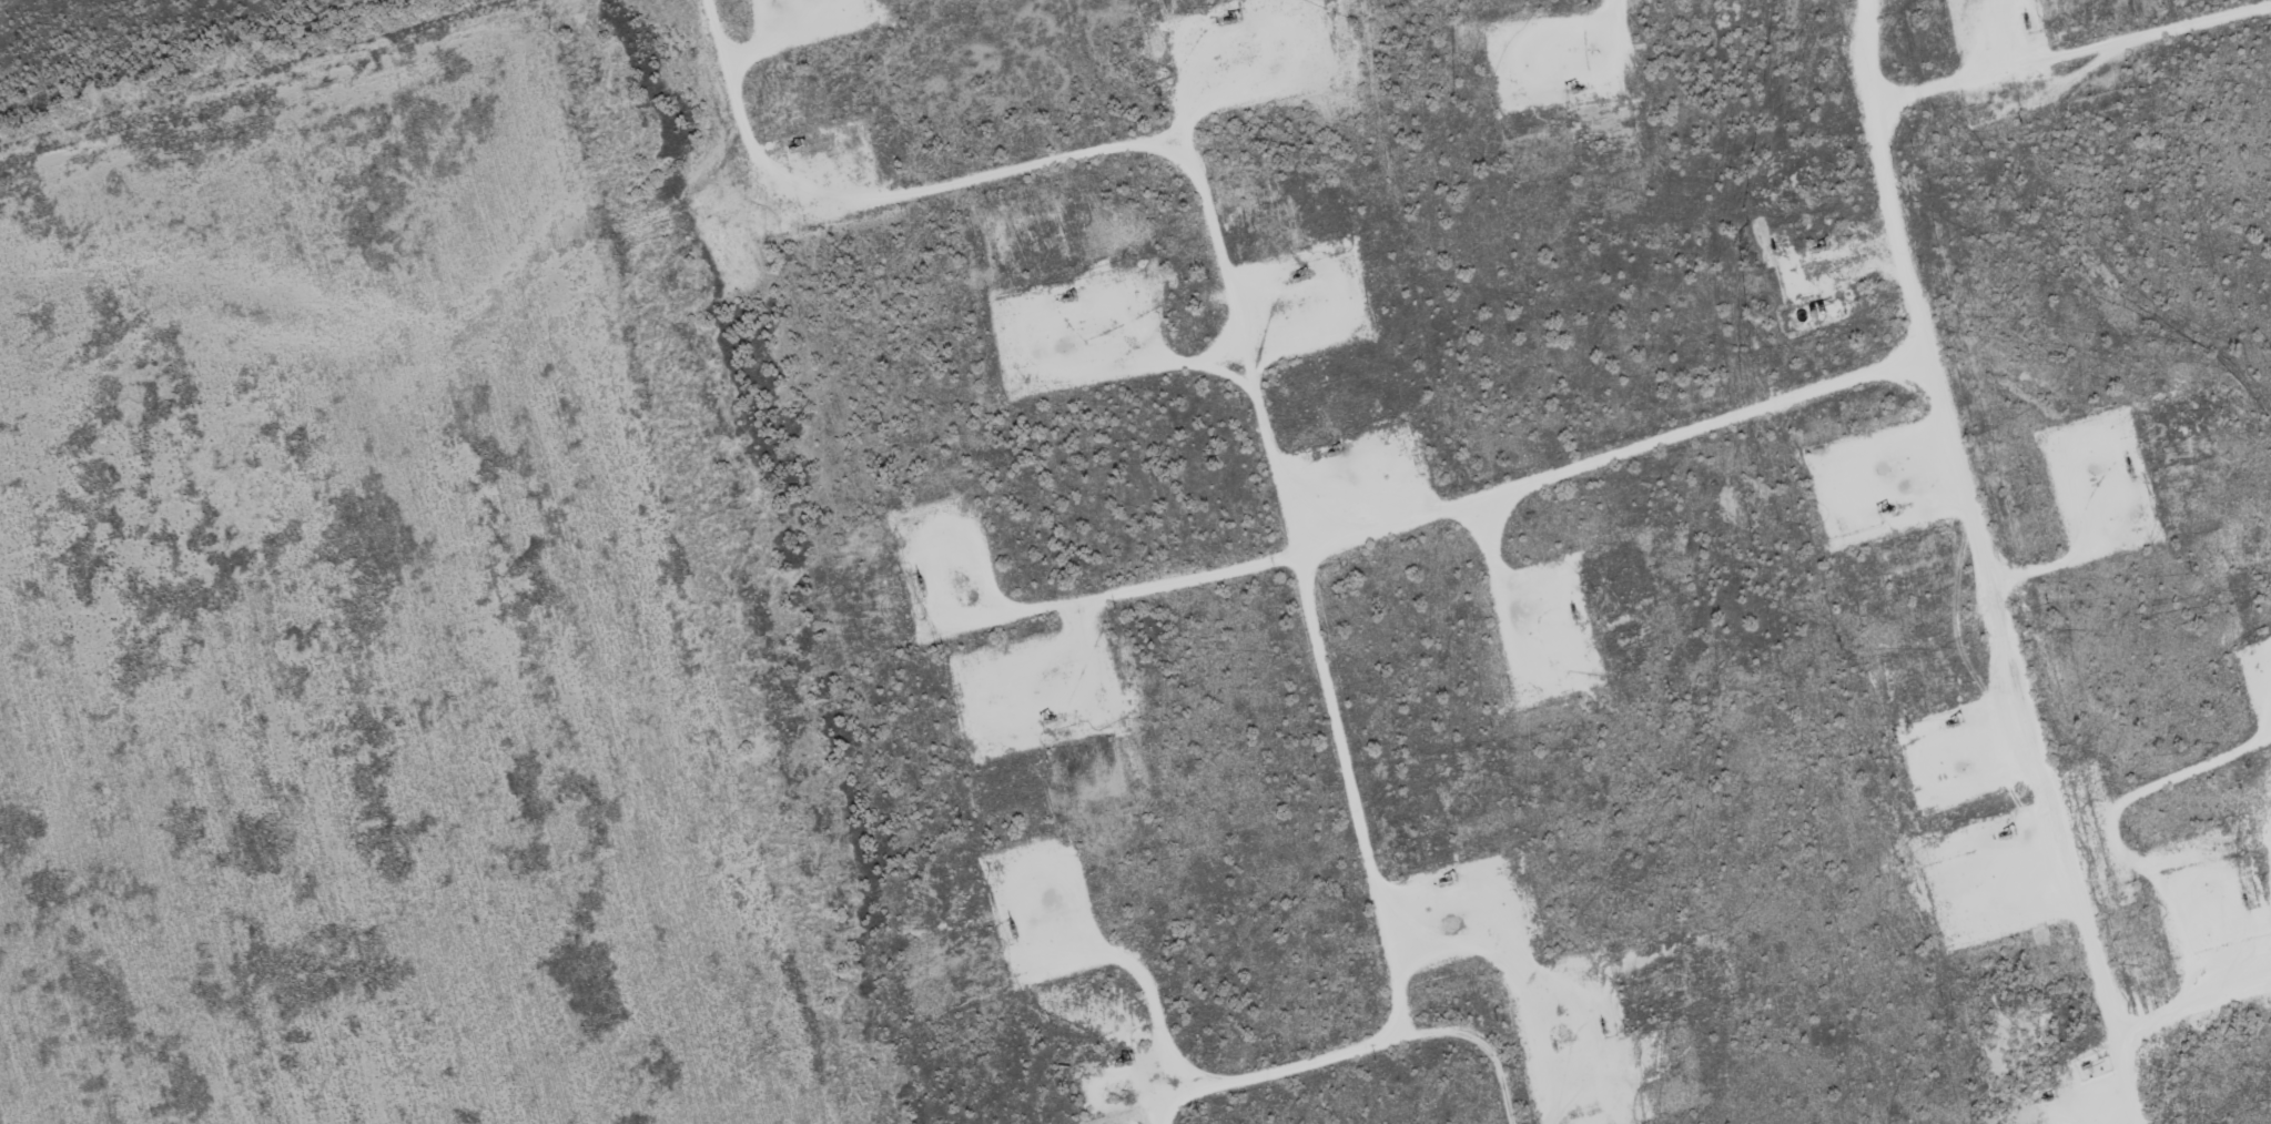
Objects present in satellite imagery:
road: (1981, 565)

